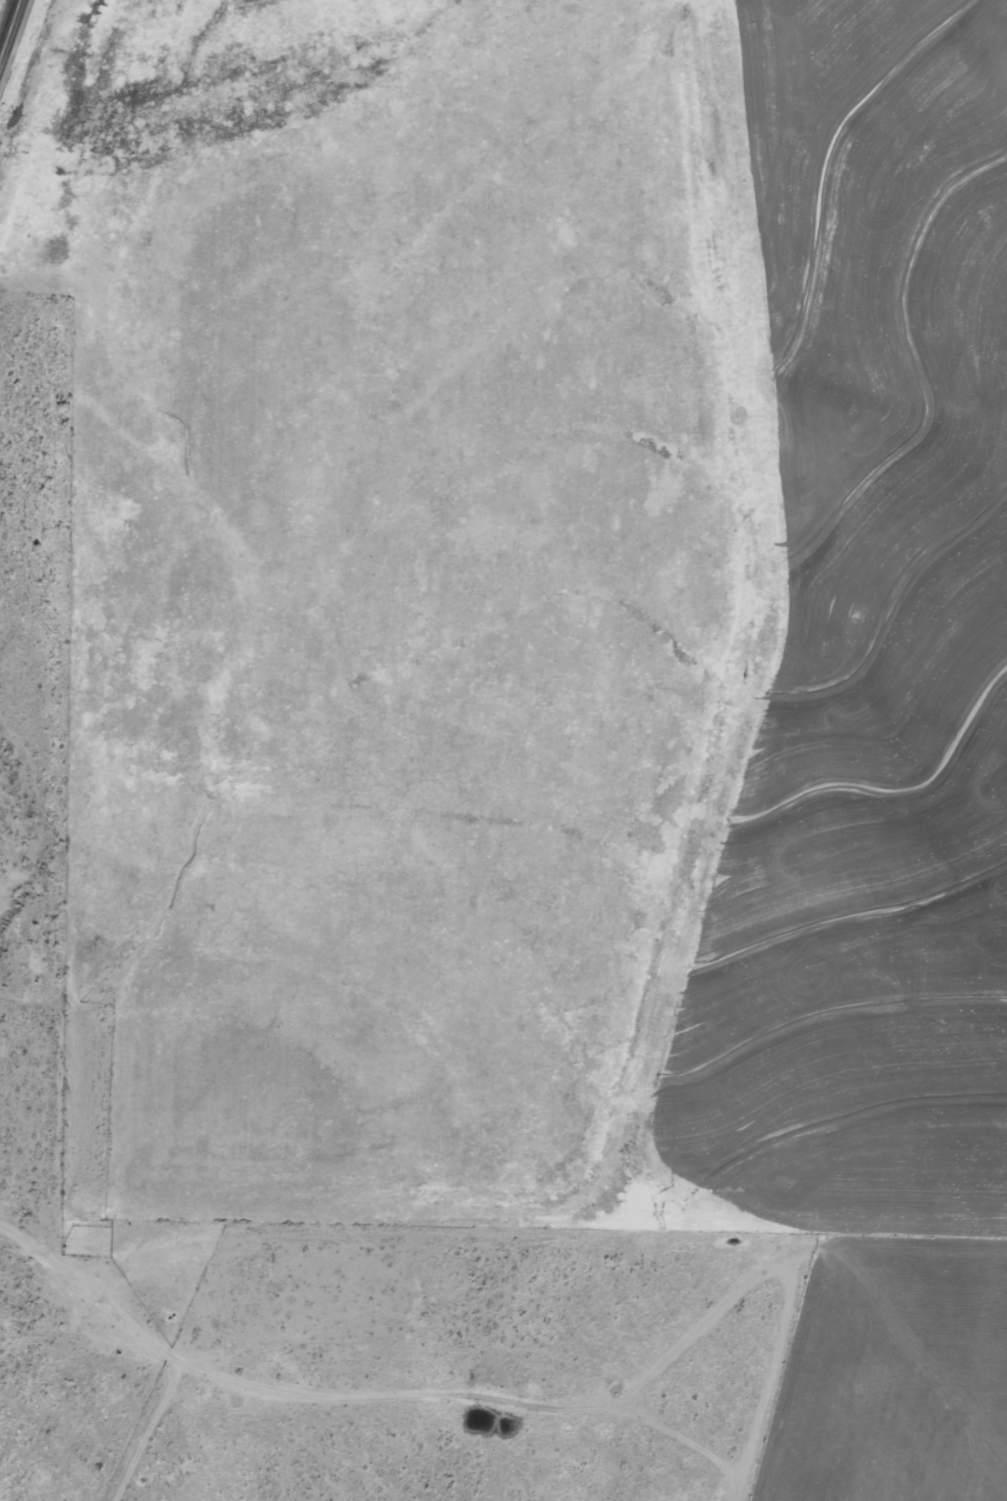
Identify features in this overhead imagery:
road: (8, 24)
road: (516, 1180)

